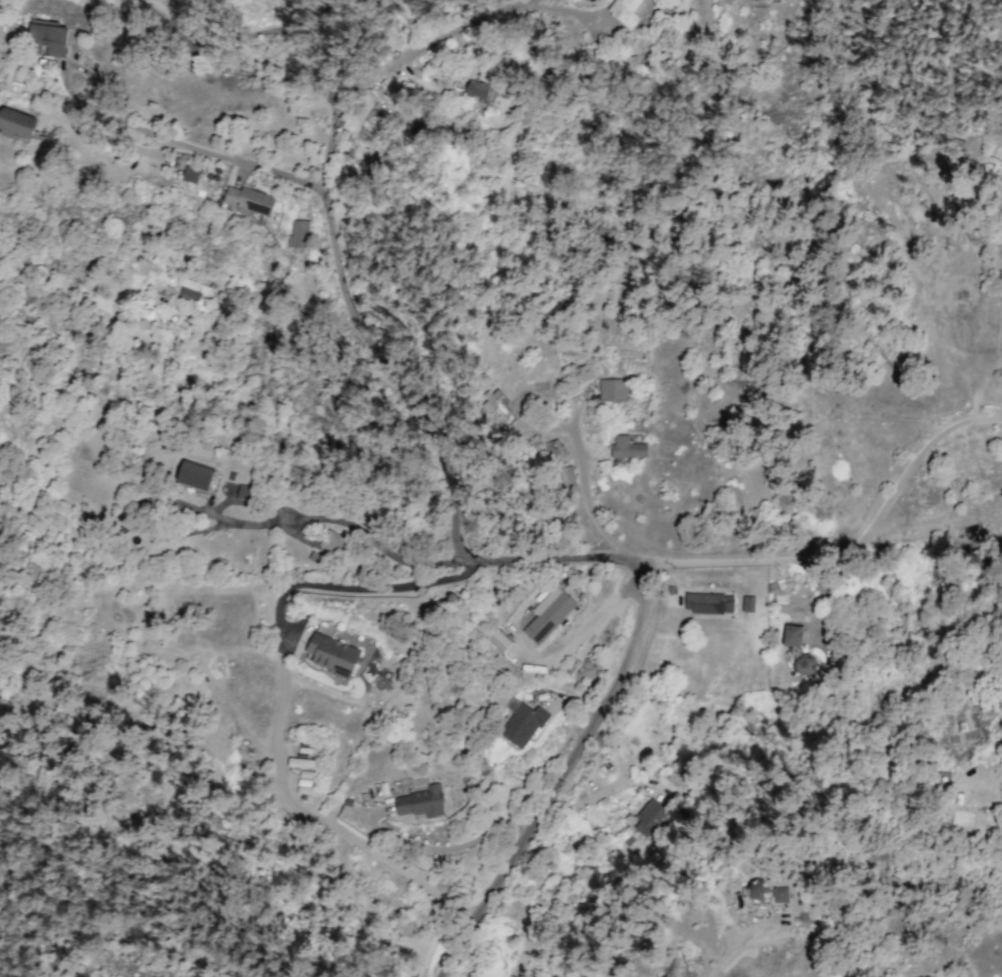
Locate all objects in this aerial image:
building: (771, 0)
building: (731, 1)
building: (756, 1)
building: (631, 10)
building: (48, 38)
building: (480, 91)
building: (378, 110)
building: (17, 123)
road: (182, 144)
building: (191, 174)
building: (249, 199)
building: (298, 234)
road: (333, 245)
building: (193, 288)
building: (613, 390)
building: (491, 402)
building: (627, 448)
building: (195, 475)
building: (243, 491)
road: (585, 497)
building: (333, 542)
road: (845, 547)
road: (446, 578)
building: (708, 603)
building: (748, 604)
building: (548, 614)
road: (581, 627)
building: (306, 632)
building: (796, 649)
building: (332, 655)
building: (523, 725)
building: (676, 779)
building: (421, 802)
building: (648, 817)
building: (757, 889)
building: (780, 894)
road: (735, 943)
road: (454, 947)

